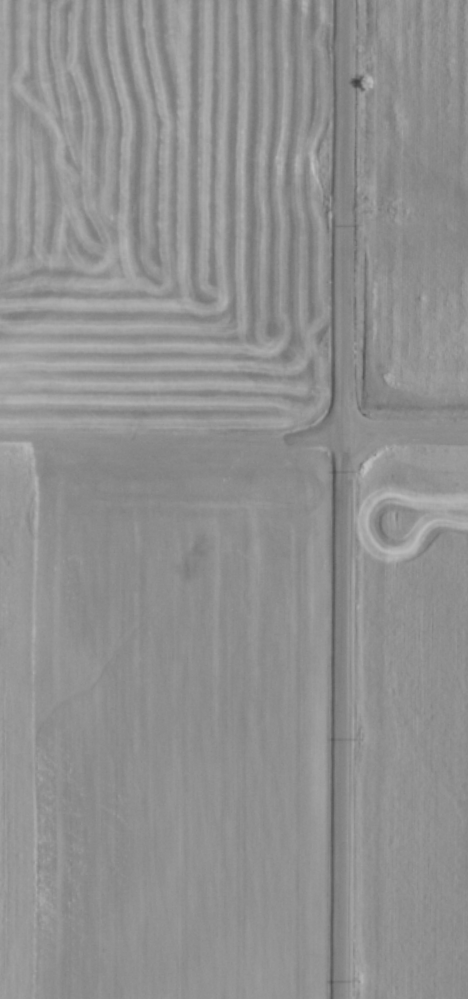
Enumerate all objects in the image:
road: (408, 435)
road: (174, 439)
road: (347, 499)

